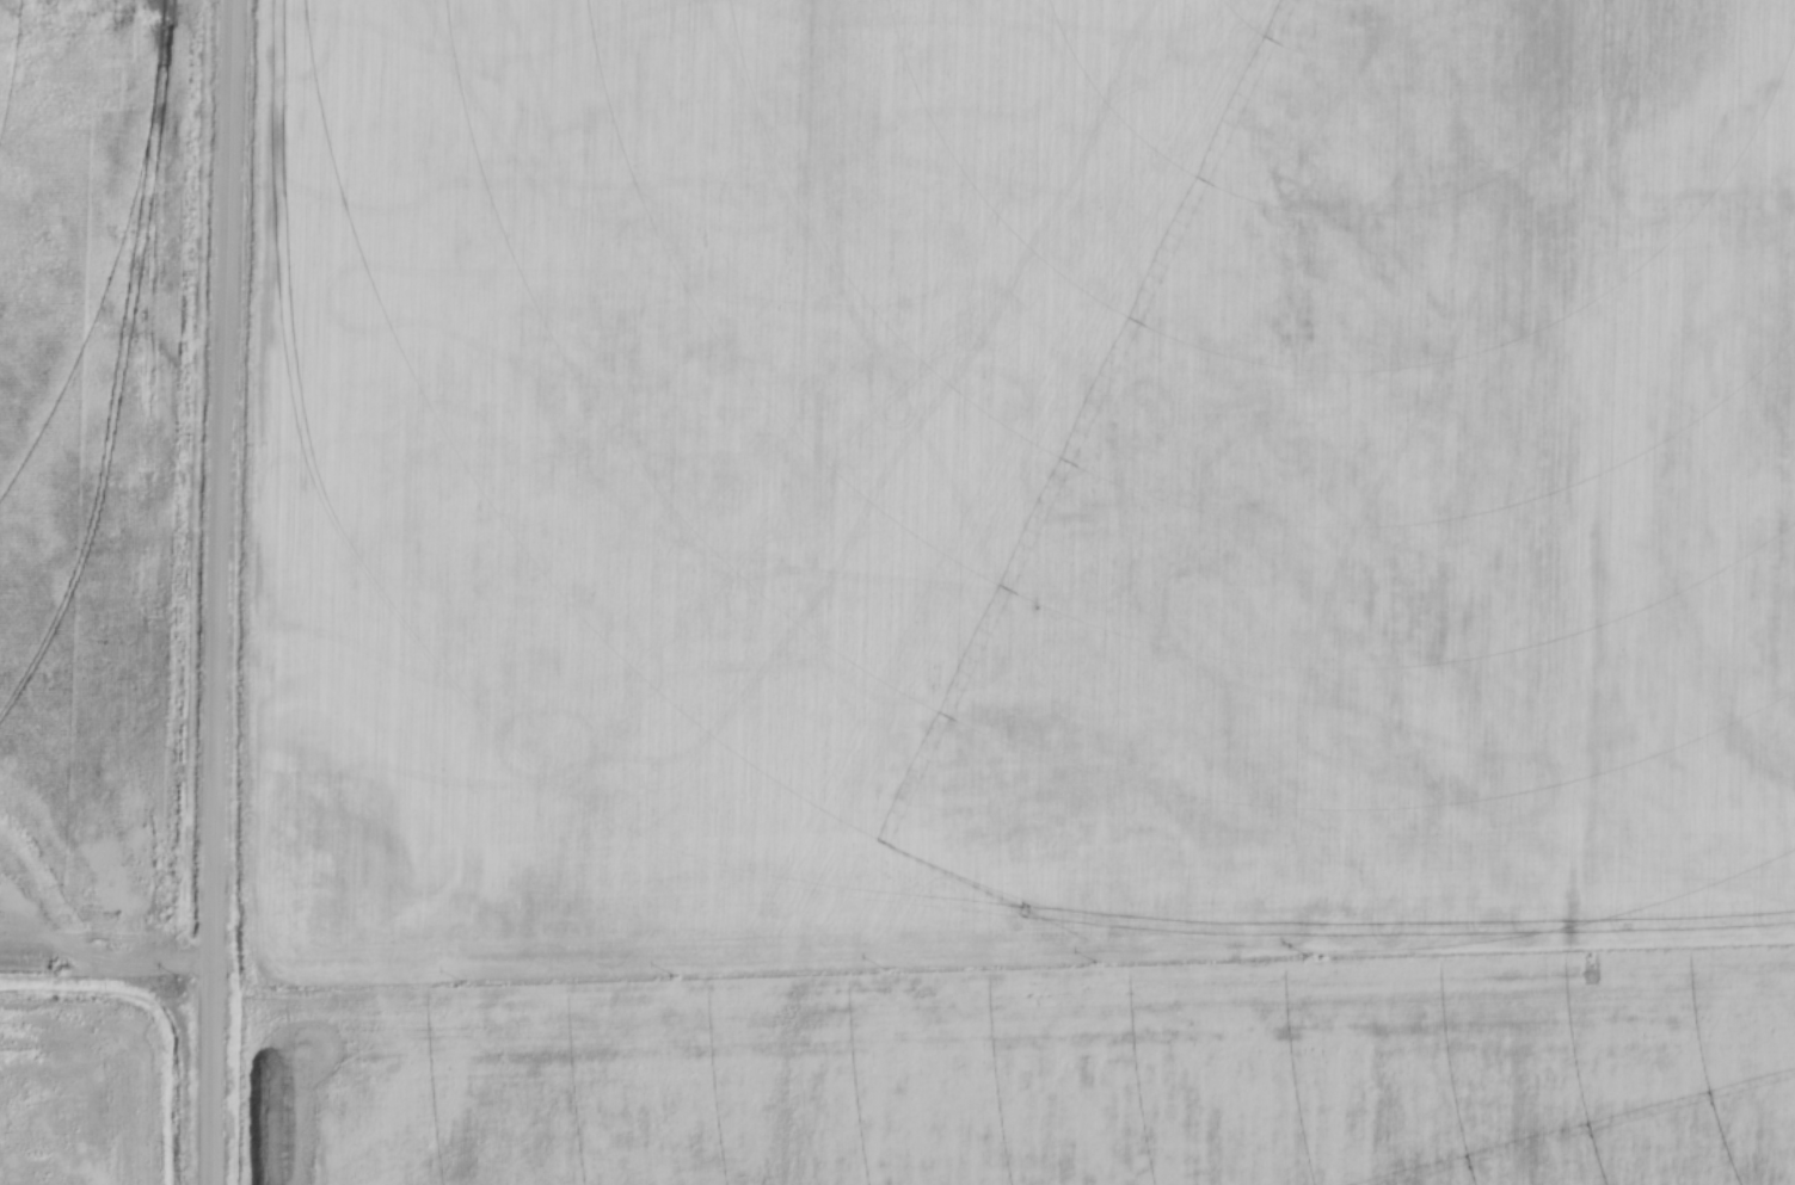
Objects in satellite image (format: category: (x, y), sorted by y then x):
road: (216, 592)

